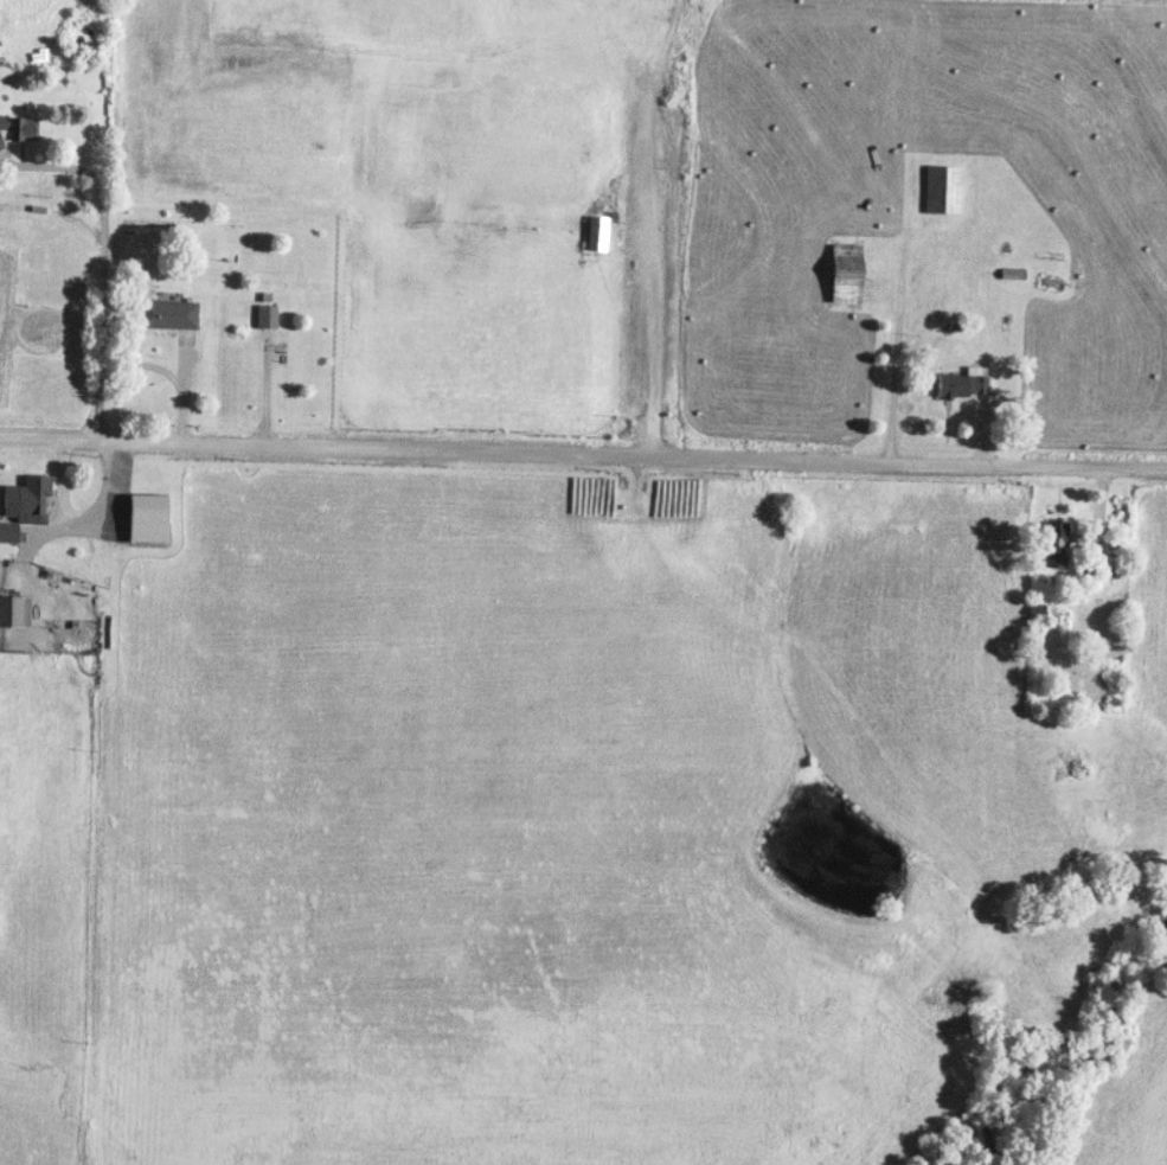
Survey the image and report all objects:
building: (18, 127)
building: (942, 187)
building: (844, 271)
building: (1012, 273)
road: (105, 288)
road: (646, 300)
building: (165, 313)
building: (265, 314)
road: (890, 359)
road: (166, 377)
building: (960, 384)
road: (583, 454)
building: (30, 499)
building: (6, 531)
building: (1054, 543)
building: (1088, 572)
building: (13, 610)

